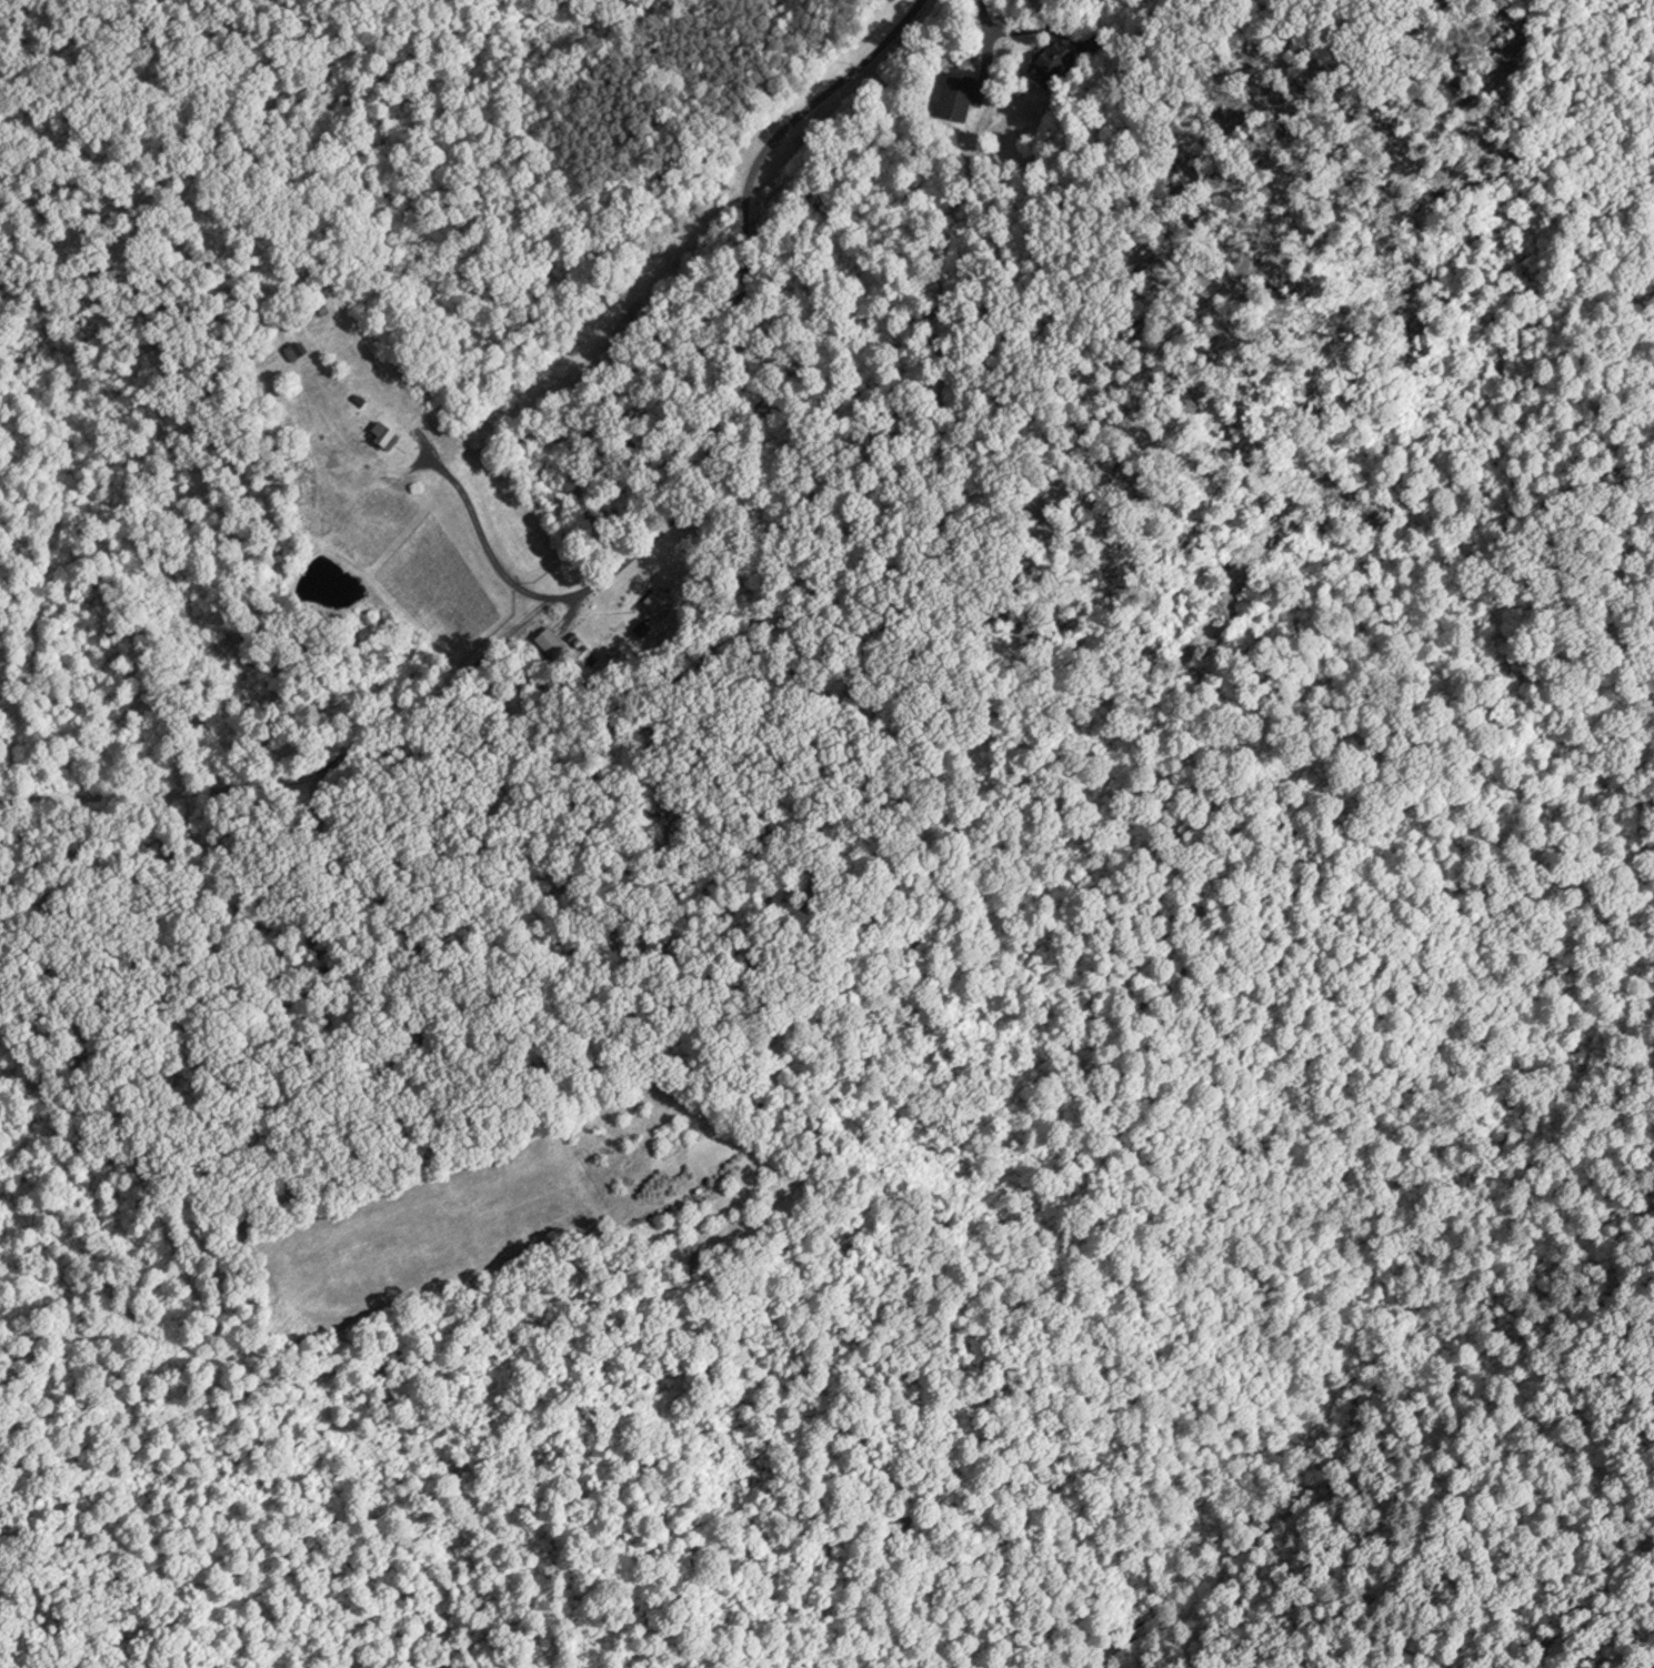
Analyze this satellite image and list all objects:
road: (982, 22)
building: (1051, 63)
building: (956, 97)
building: (293, 351)
road: (720, 405)
building: (382, 435)
building: (659, 602)
building: (551, 643)

